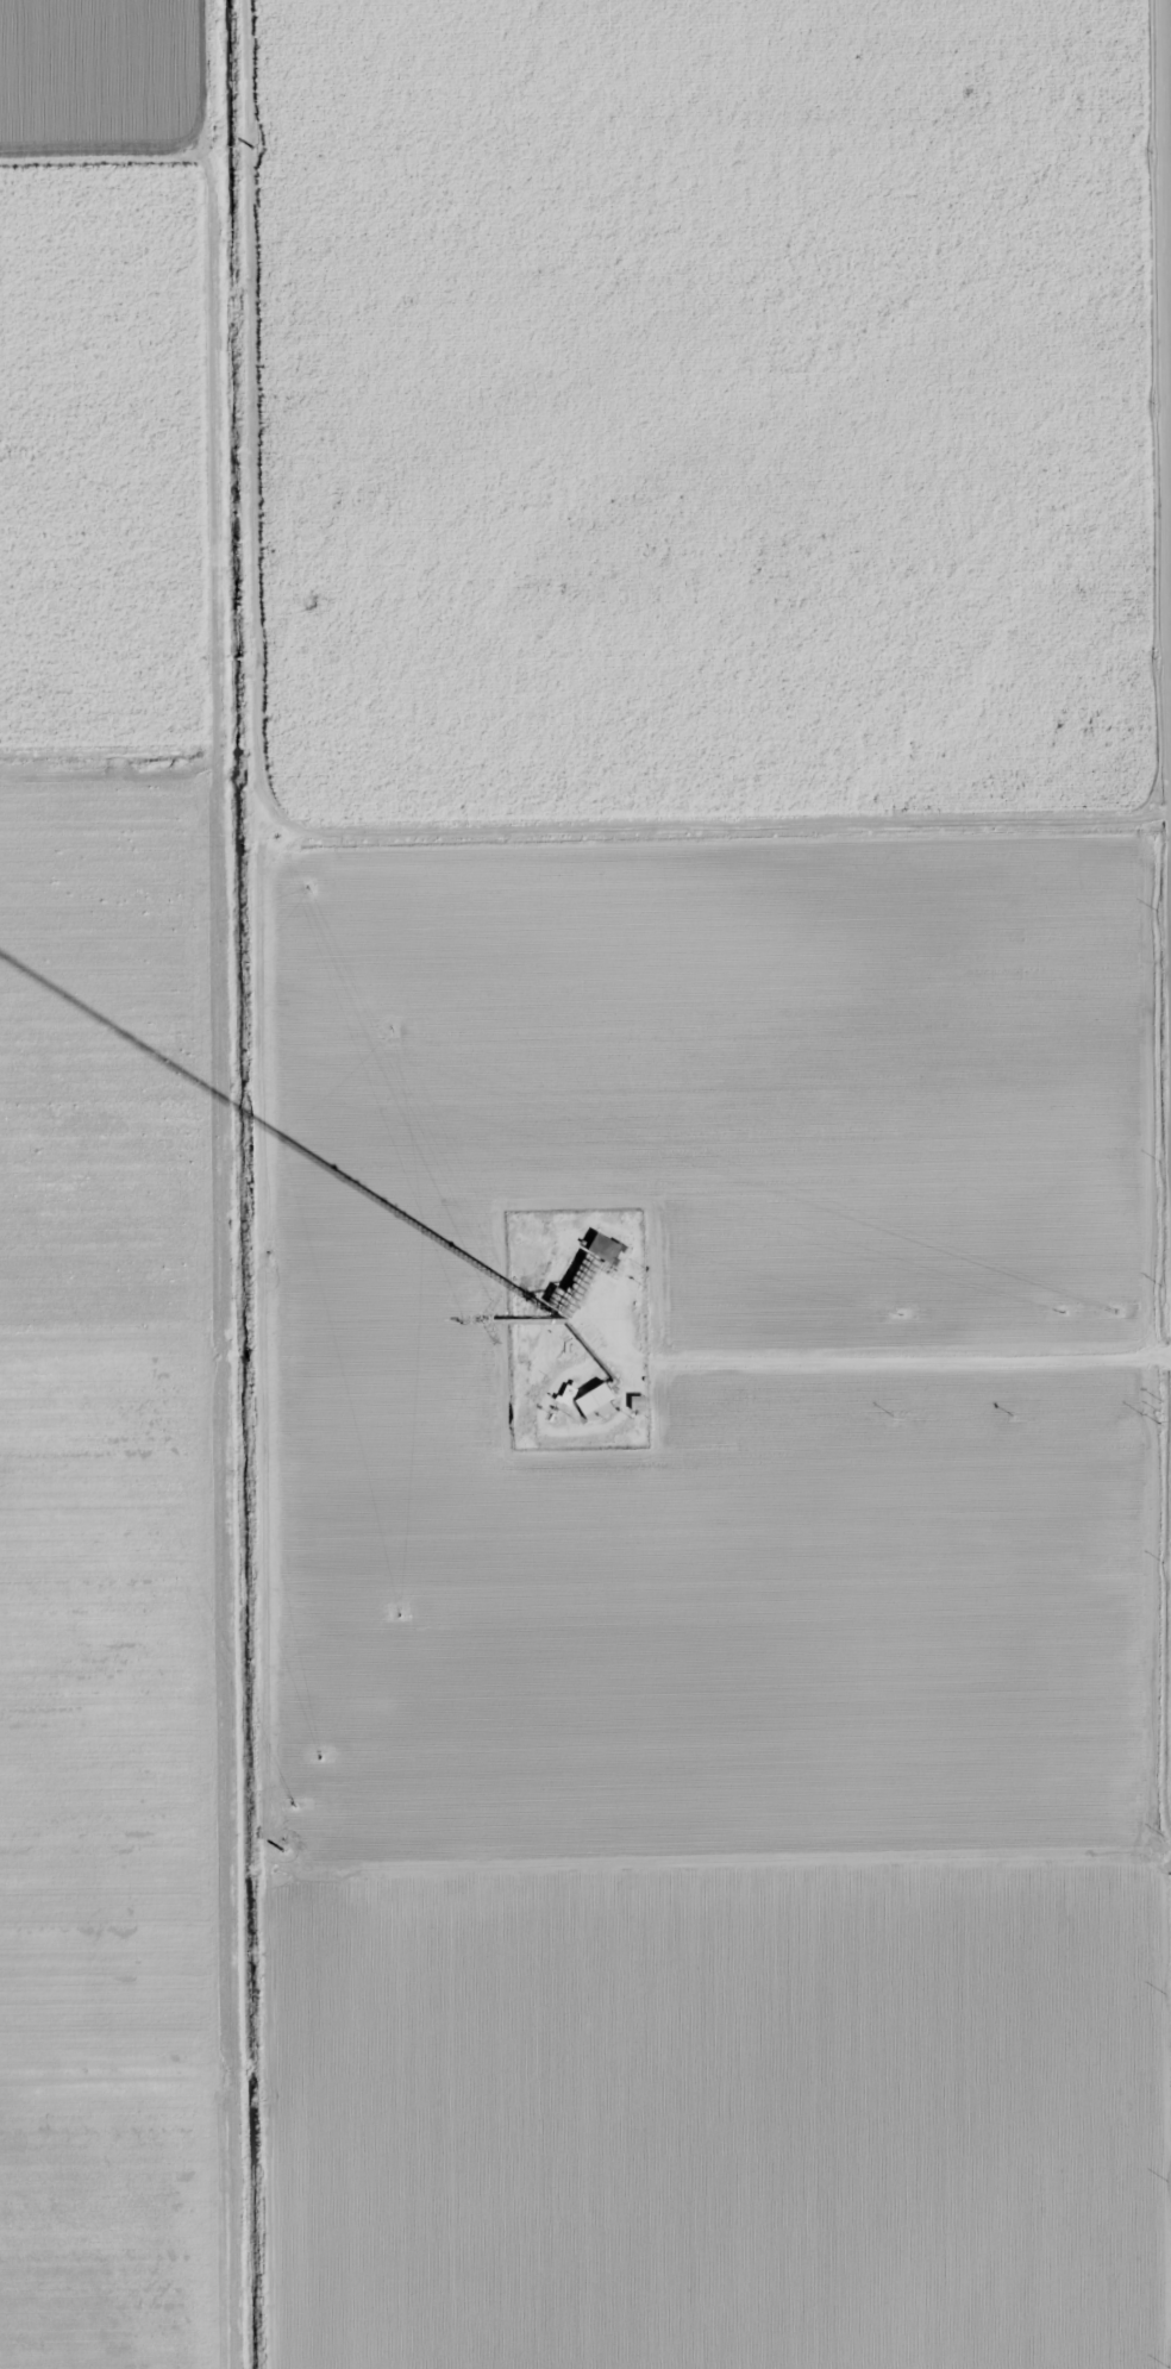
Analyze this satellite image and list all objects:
road: (1166, 681)
building: (606, 1248)
road: (834, 1361)
building: (597, 1402)

